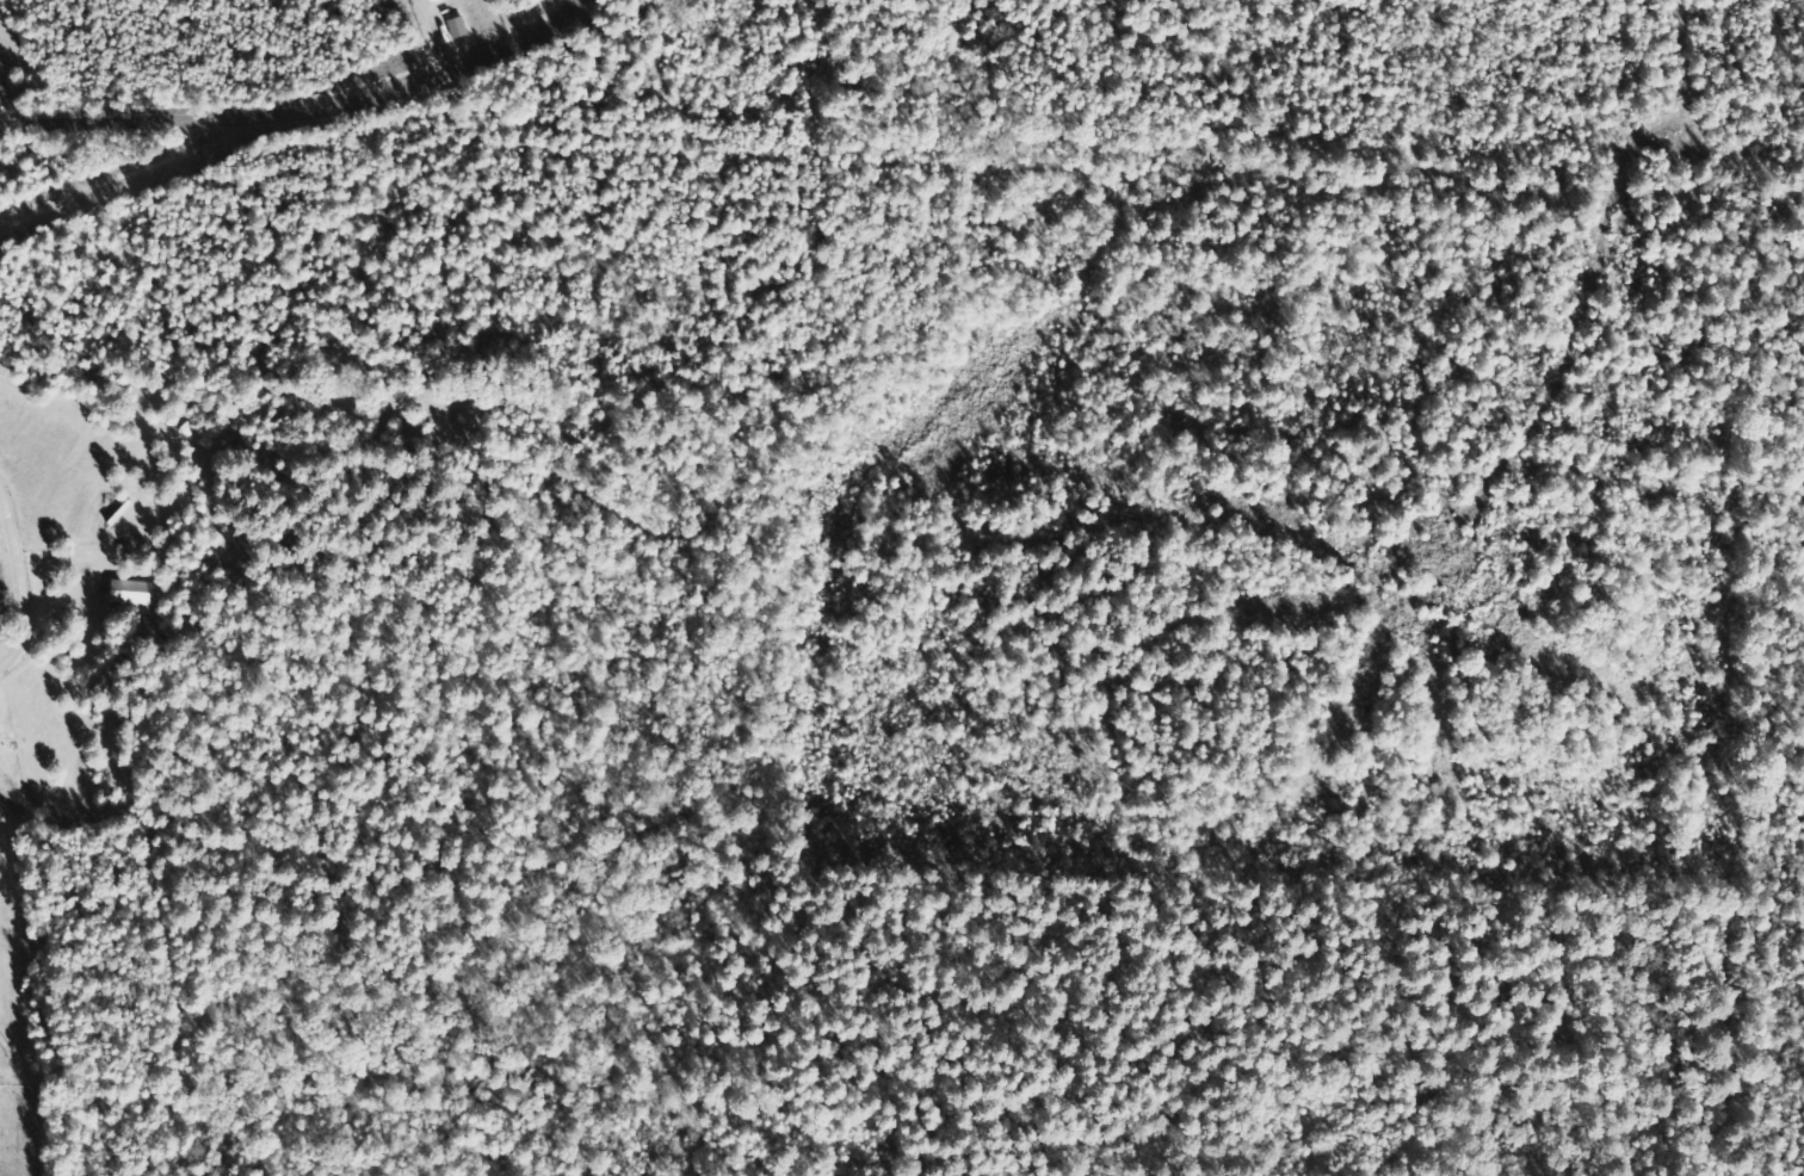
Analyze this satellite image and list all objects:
road: (329, 146)

